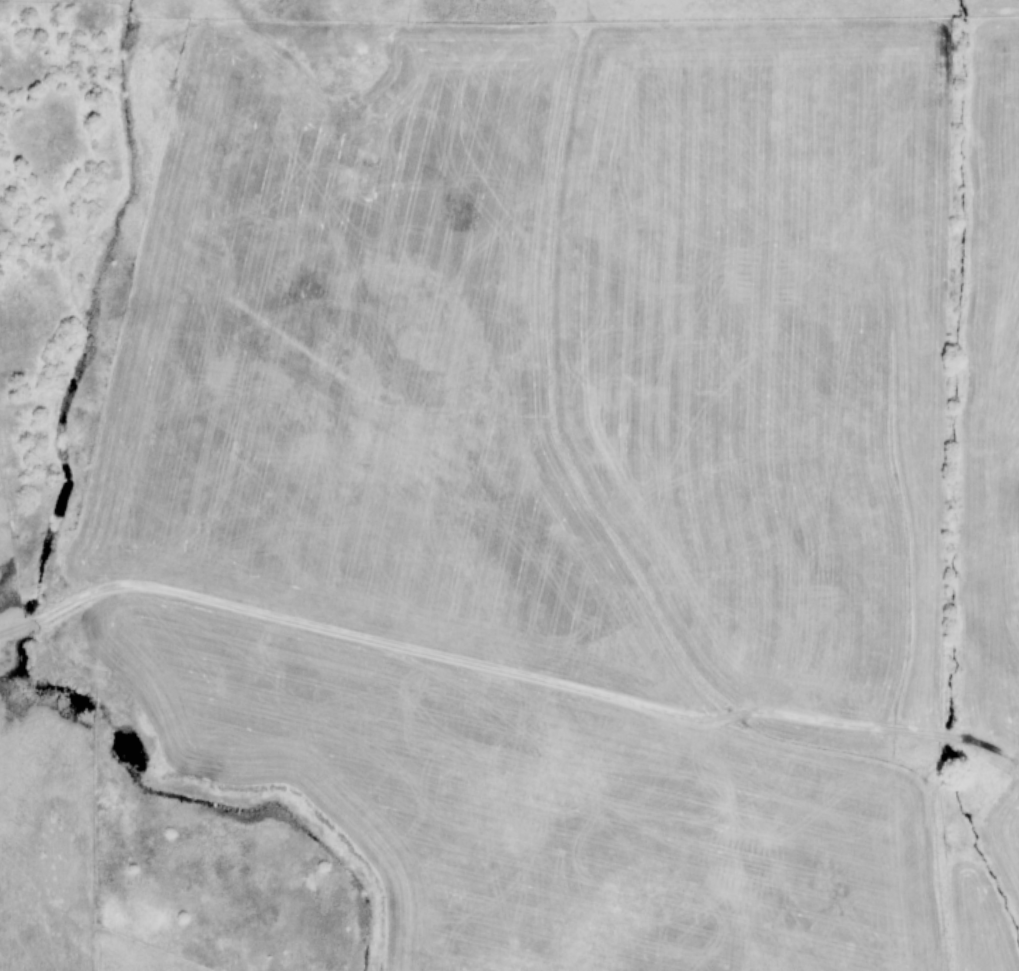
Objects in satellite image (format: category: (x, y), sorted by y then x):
road: (510, 656)

